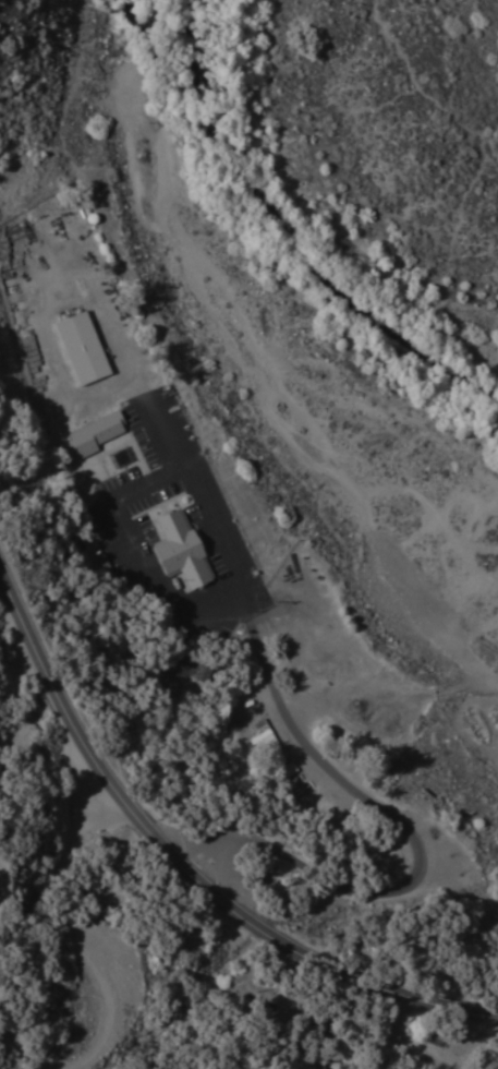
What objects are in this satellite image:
road: (425, 96)
river: (287, 238)
building: (80, 348)
building: (101, 351)
building: (93, 434)
building: (114, 436)
building: (138, 460)
building: (178, 551)
building: (201, 553)
building: (197, 674)
building: (270, 750)
road: (90, 755)
road: (331, 773)
road: (256, 934)
road: (98, 974)
road: (390, 997)

